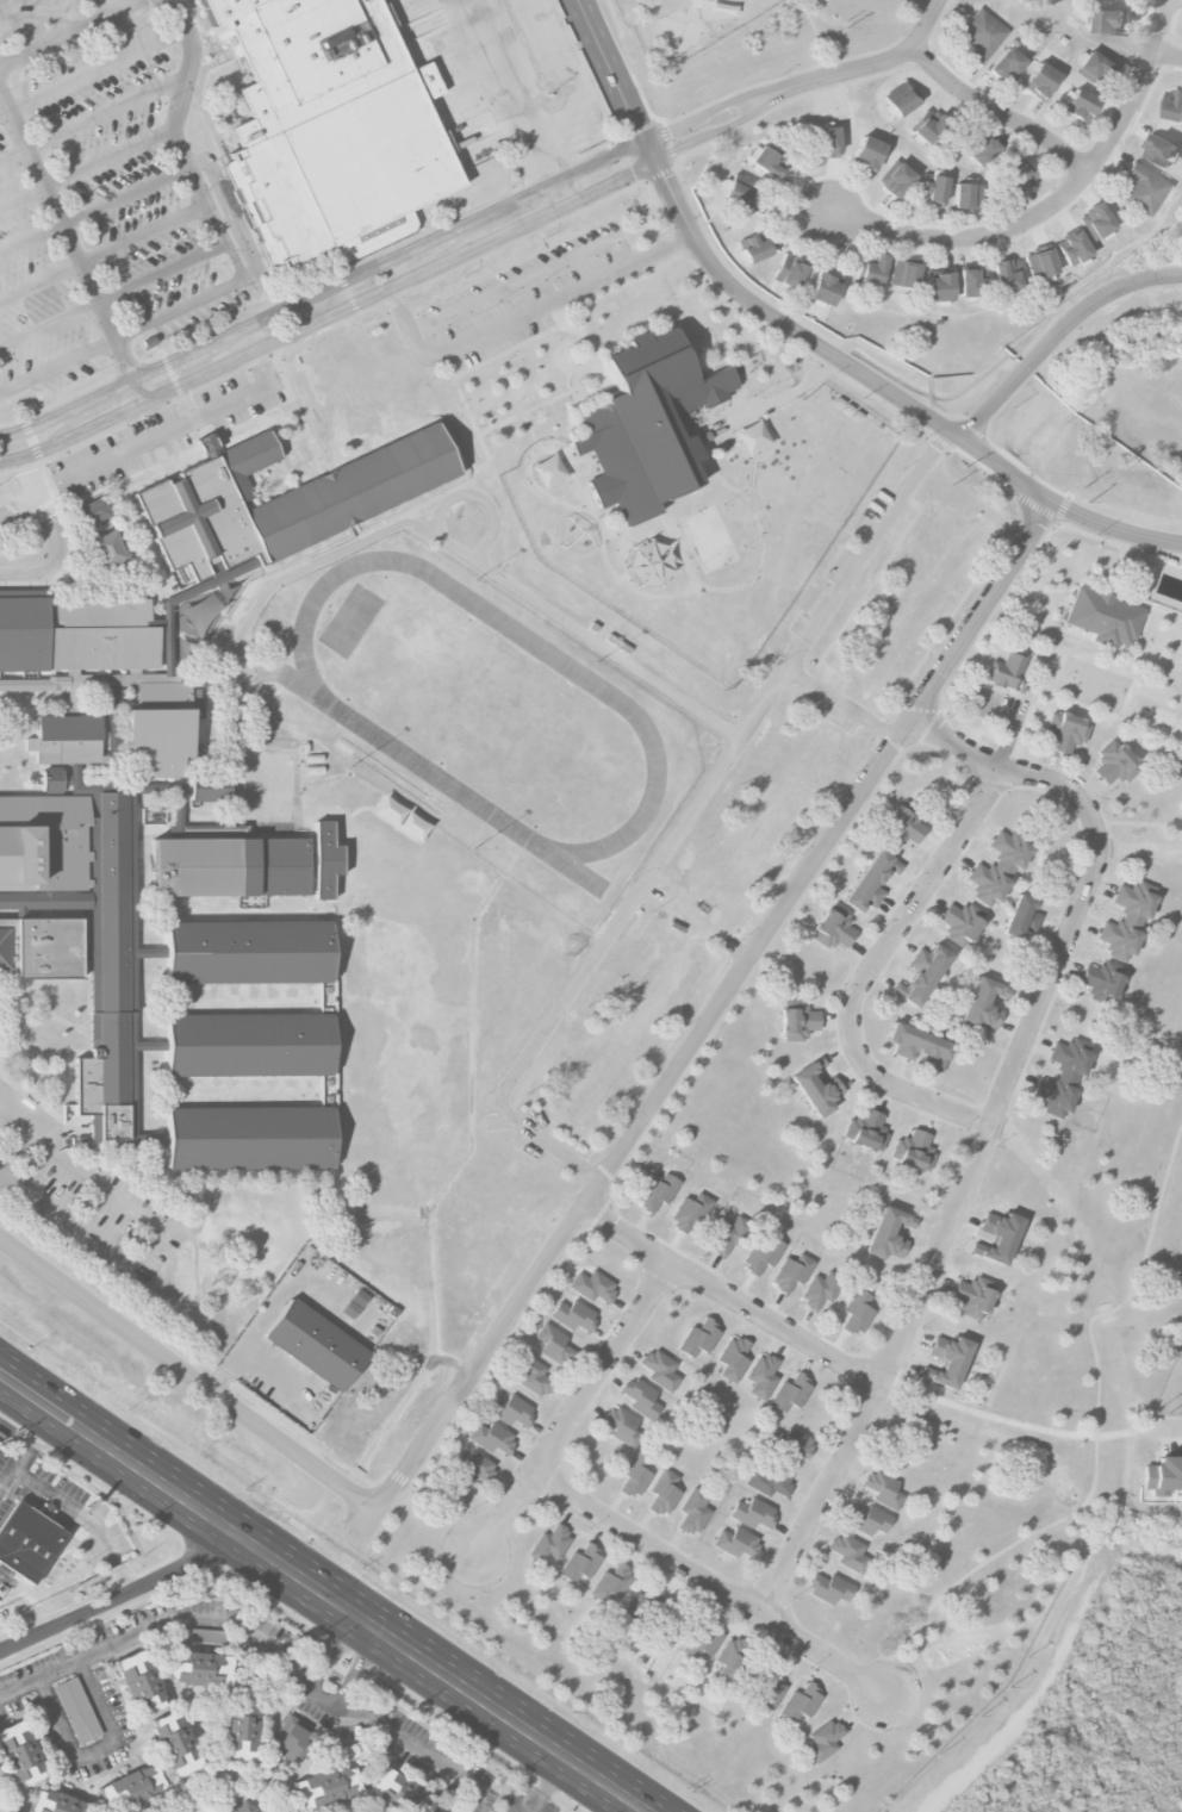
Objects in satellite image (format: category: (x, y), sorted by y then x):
building: (1111, 0)
road: (98, 8)
parking lot: (37, 17)
road: (58, 17)
road: (928, 23)
building: (1109, 23)
road: (15, 25)
road: (68, 32)
building: (982, 36)
road: (1167, 55)
building: (1006, 66)
building: (1095, 67)
road: (98, 68)
road: (856, 69)
road: (565, 79)
building: (1040, 80)
road: (617, 81)
road: (505, 92)
building: (901, 99)
building: (1078, 105)
building: (1174, 105)
road: (717, 107)
road: (106, 111)
road: (5, 112)
road: (996, 112)
building: (328, 122)
road: (178, 123)
road: (727, 125)
building: (828, 142)
building: (1159, 150)
building: (983, 151)
building: (866, 154)
road: (13, 155)
road: (110, 157)
road: (596, 162)
building: (767, 162)
building: (1020, 175)
building: (897, 179)
building: (934, 189)
building: (1143, 189)
building: (741, 191)
road: (125, 195)
road: (554, 195)
road: (21, 197)
building: (963, 197)
road: (1049, 206)
road: (232, 211)
parking lot: (111, 218)
building: (1095, 220)
road: (143, 232)
road: (31, 238)
road: (71, 245)
building: (753, 248)
building: (1074, 248)
road: (236, 261)
building: (1039, 264)
road: (162, 270)
building: (872, 270)
building: (790, 273)
building: (902, 274)
road: (528, 276)
building: (1006, 276)
road: (39, 280)
building: (969, 282)
building: (939, 287)
building: (823, 289)
parking lot: (524, 297)
road: (338, 310)
road: (275, 312)
road: (528, 315)
road: (49, 323)
road: (124, 334)
road: (1058, 334)
road: (2, 391)
road: (889, 391)
road: (782, 394)
building: (646, 425)
parking lot: (164, 431)
road: (169, 435)
building: (752, 437)
road: (17, 446)
road: (11, 459)
building: (549, 471)
road: (29, 478)
road: (18, 508)
road: (412, 523)
park: (711, 537)
building: (106, 549)
road: (52, 553)
building: (649, 565)
building: (922, 609)
building: (1103, 617)
park: (708, 639)
building: (1006, 670)
park: (1093, 684)
building: (1021, 689)
building: (111, 691)
track: (616, 703)
road: (846, 704)
park: (478, 706)
parking lot: (999, 706)
building: (1065, 731)
building: (1115, 764)
building: (112, 798)
building: (400, 818)
road: (690, 820)
building: (770, 824)
building: (903, 826)
building: (42, 842)
building: (997, 868)
building: (871, 882)
building: (1021, 919)
building: (1127, 920)
building: (963, 922)
building: (833, 928)
road: (870, 964)
building: (921, 975)
building: (1102, 980)
building: (984, 1004)
road: (717, 1009)
building: (798, 1021)
building: (626, 1039)
building: (919, 1045)
building: (1063, 1077)
building: (816, 1088)
road: (36, 1122)
road: (989, 1125)
building: (866, 1131)
building: (914, 1151)
road: (0, 1170)
parking lot: (77, 1193)
building: (658, 1193)
building: (691, 1213)
building: (889, 1234)
building: (727, 1235)
building: (997, 1238)
road: (149, 1247)
building: (763, 1254)
building: (792, 1272)
building: (592, 1287)
building: (821, 1289)
road: (733, 1296)
building: (973, 1297)
building: (354, 1303)
building: (858, 1312)
building: (574, 1315)
building: (699, 1339)
building: (316, 1345)
building: (554, 1345)
building: (733, 1359)
building: (947, 1360)
building: (660, 1370)
road: (189, 1376)
building: (534, 1376)
building: (761, 1376)
building: (791, 1394)
building: (641, 1399)
building: (510, 1411)
road: (570, 1414)
road: (1014, 1422)
building: (622, 1427)
road: (1165, 1428)
building: (491, 1437)
building: (0, 1441)
building: (794, 1441)
road: (27, 1450)
building: (473, 1467)
building: (635, 1476)
building: (1164, 1476)
building: (767, 1481)
building: (883, 1489)
building: (664, 1493)
building: (693, 1512)
building: (753, 1513)
road: (88, 1519)
building: (867, 1520)
building: (27, 1542)
road: (641, 1543)
building: (736, 1543)
building: (549, 1544)
building: (847, 1551)
building: (580, 1564)
building: (611, 1583)
building: (827, 1588)
road: (322, 1592)
road: (124, 1599)
building: (642, 1604)
building: (201, 1636)
road: (262, 1640)
building: (703, 1642)
road: (0, 1651)
road: (335, 1651)
road: (363, 1655)
building: (730, 1655)
road: (822, 1656)
building: (199, 1669)
building: (141, 1682)
building: (770, 1687)
road: (343, 1690)
building: (801, 1702)
building: (76, 1710)
building: (292, 1739)
building: (823, 1741)
building: (175, 1744)
road: (95, 1750)
building: (20, 1754)
road: (545, 1783)
building: (326, 1787)
building: (131, 1788)
building: (400, 1793)
building: (56, 1802)
building: (247, 1807)

